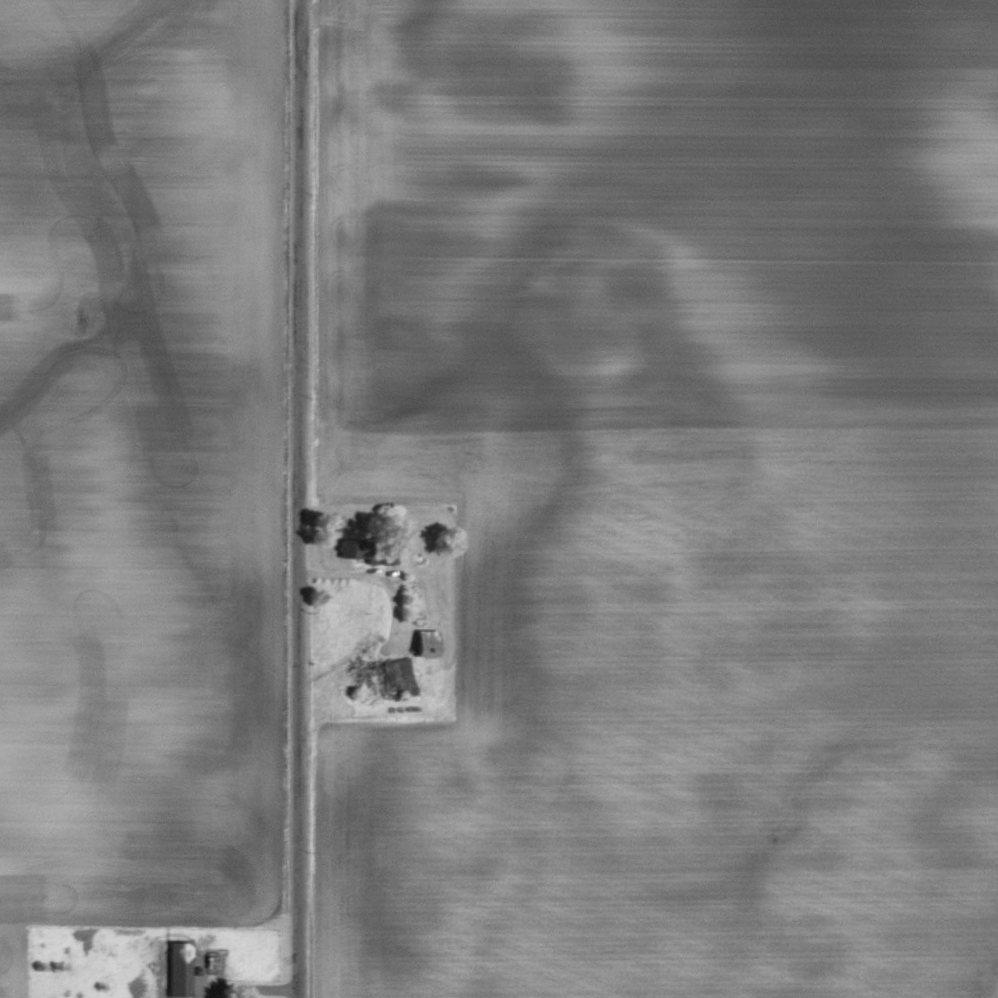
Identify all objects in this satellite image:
road: (300, 498)
building: (354, 548)
building: (427, 643)
building: (376, 679)
building: (180, 969)

